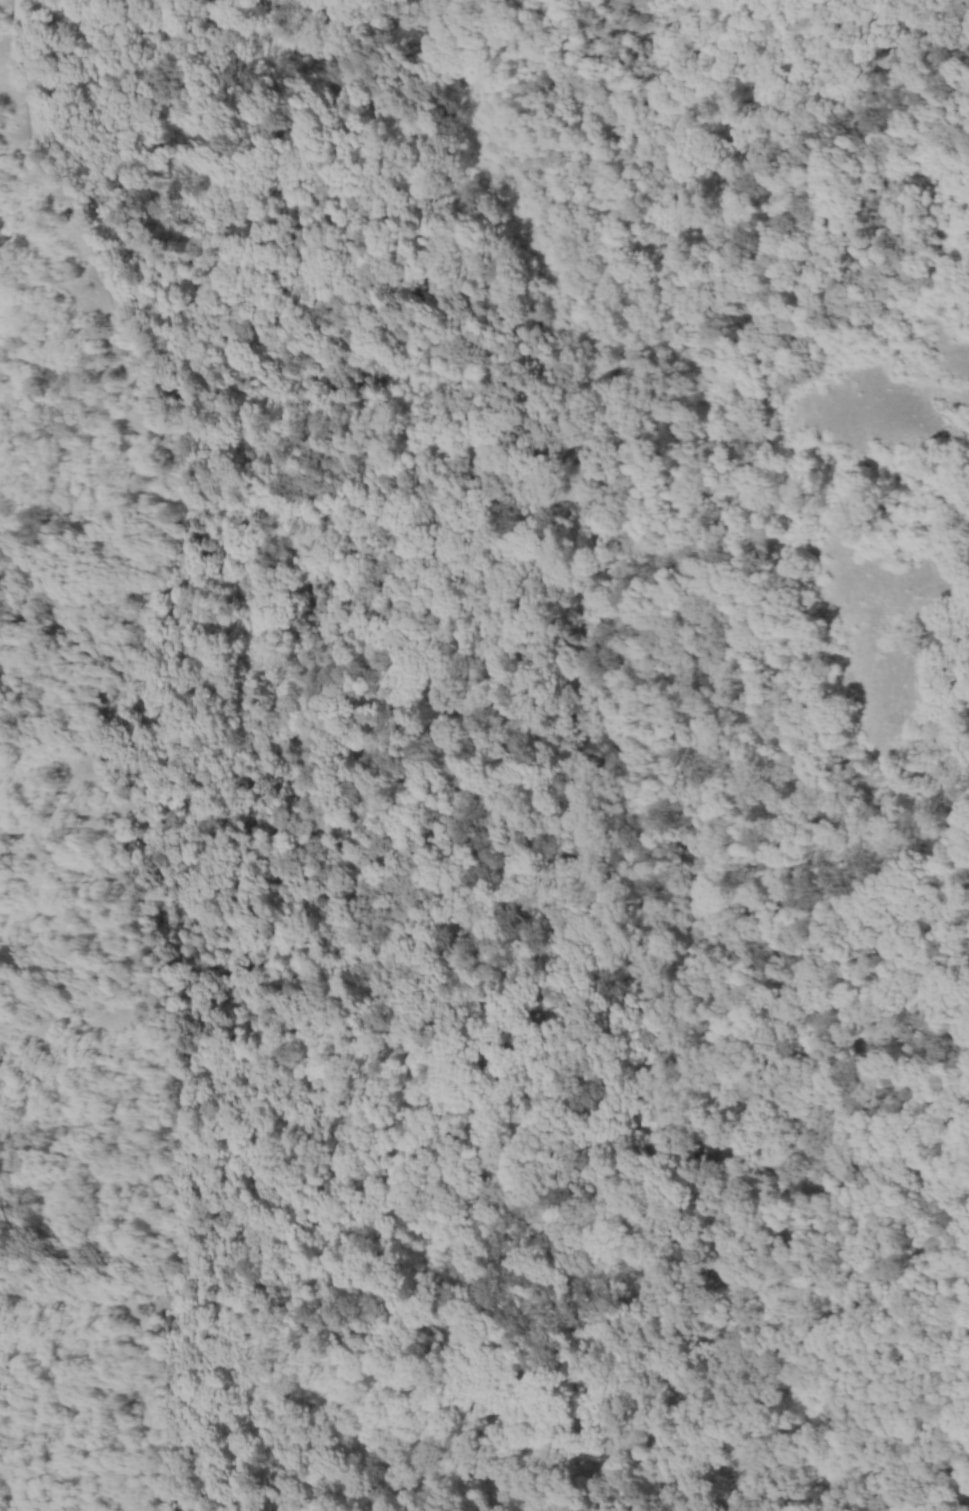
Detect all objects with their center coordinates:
road: (403, 534)

